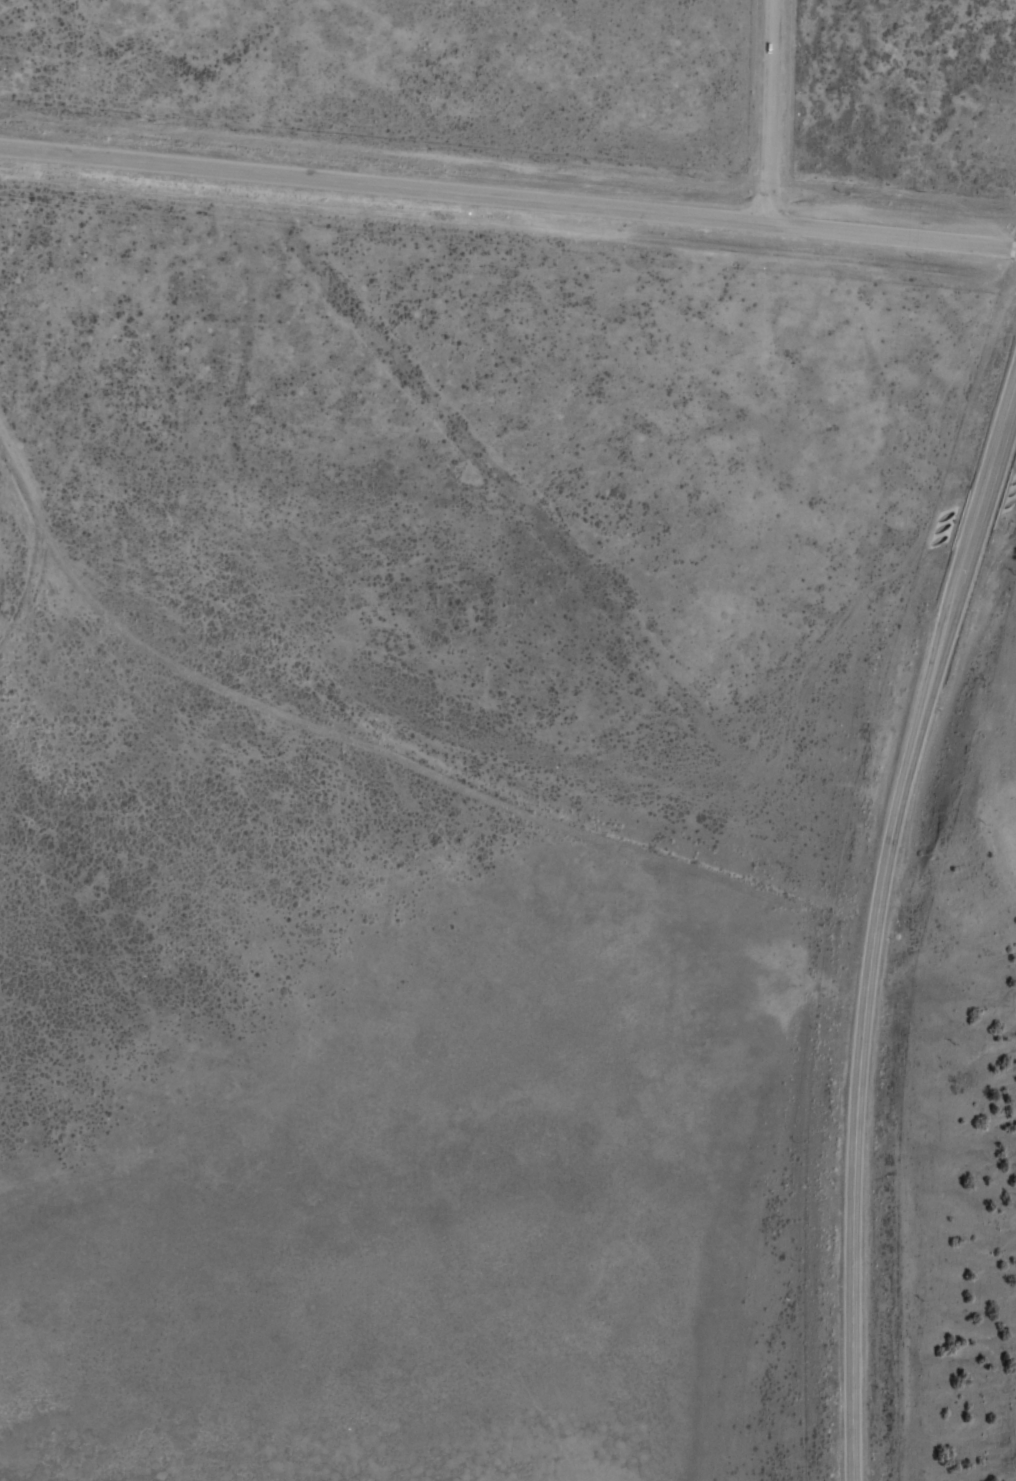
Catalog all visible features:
road: (771, 111)
road: (508, 197)
road: (878, 926)

